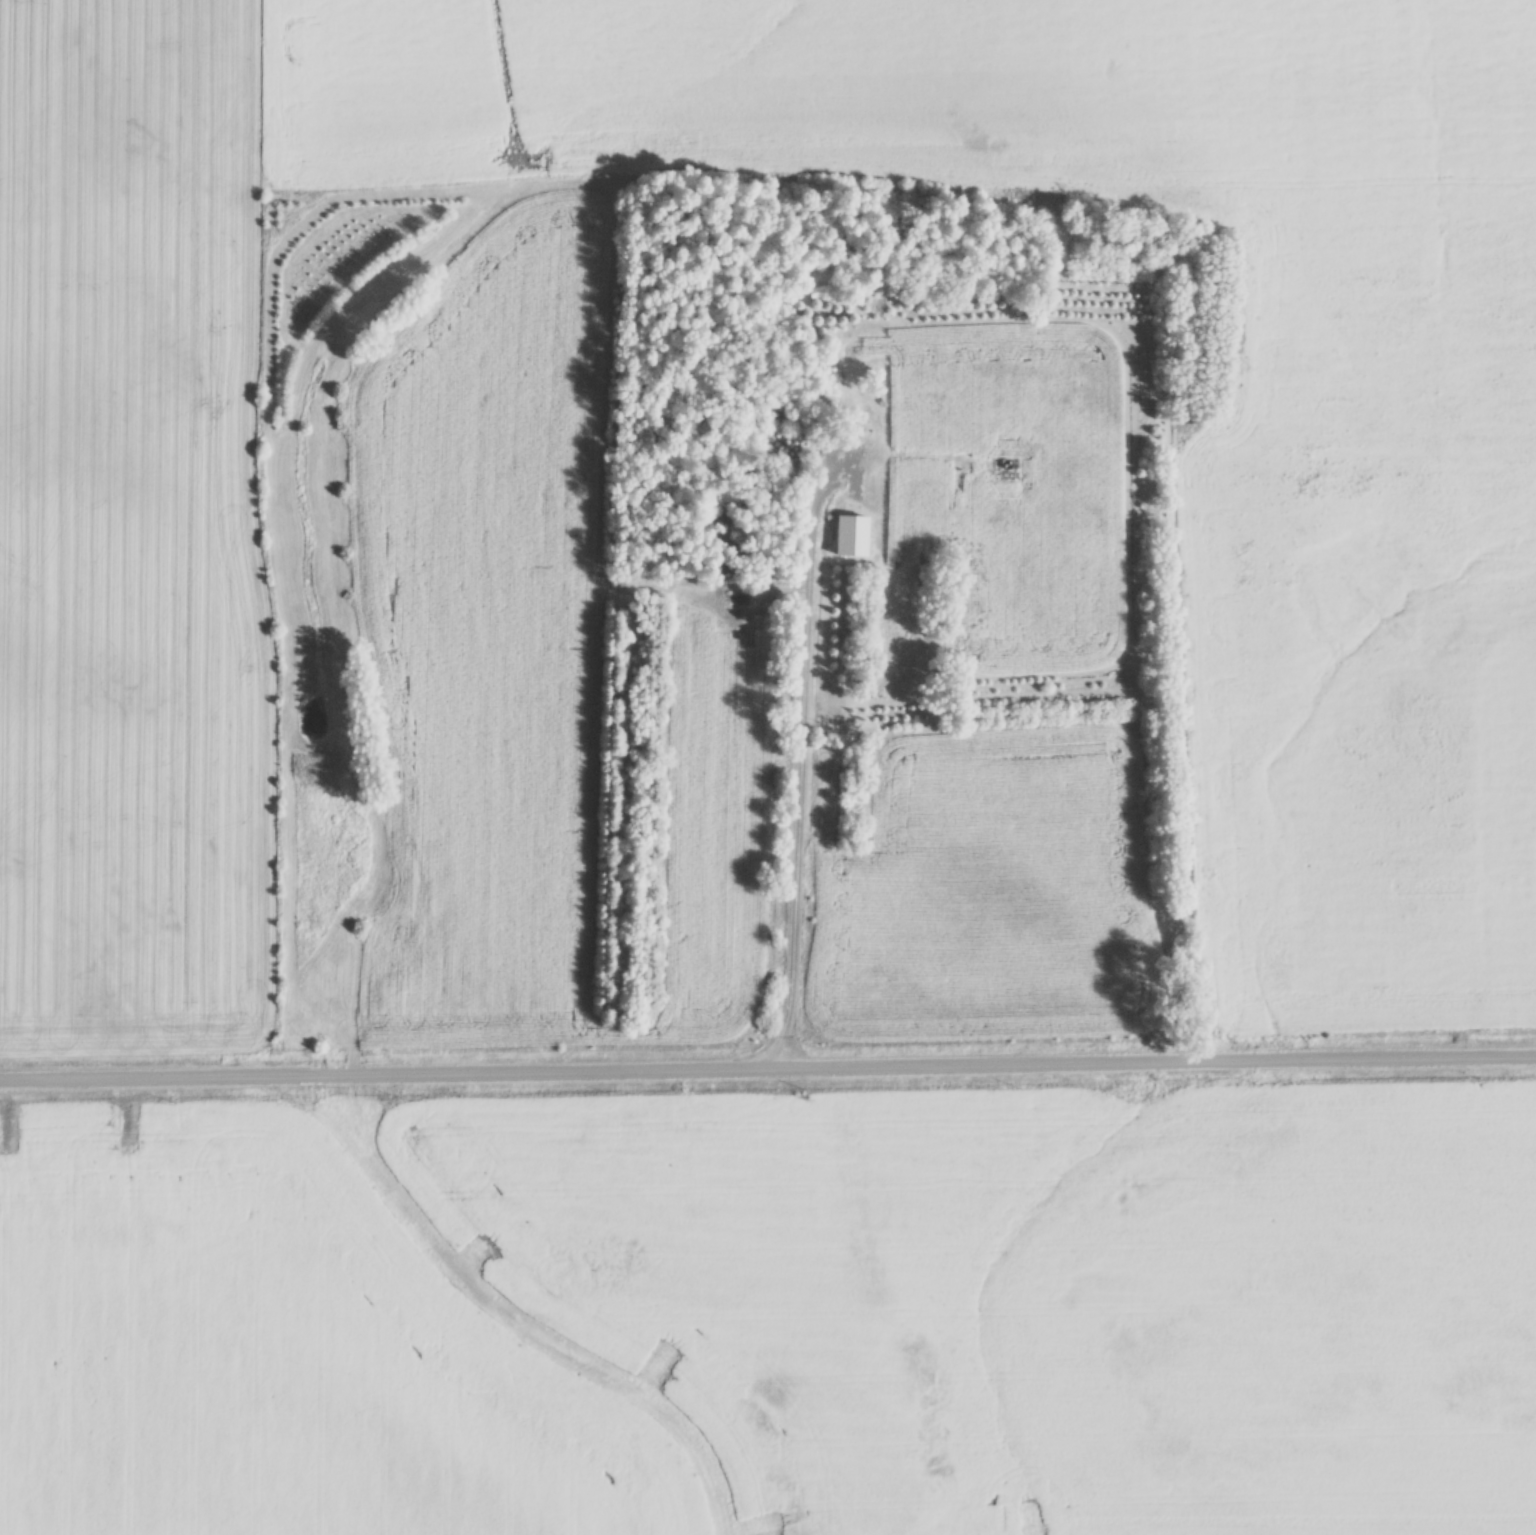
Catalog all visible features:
building: (818, 294)
building: (782, 448)
road: (768, 1068)

